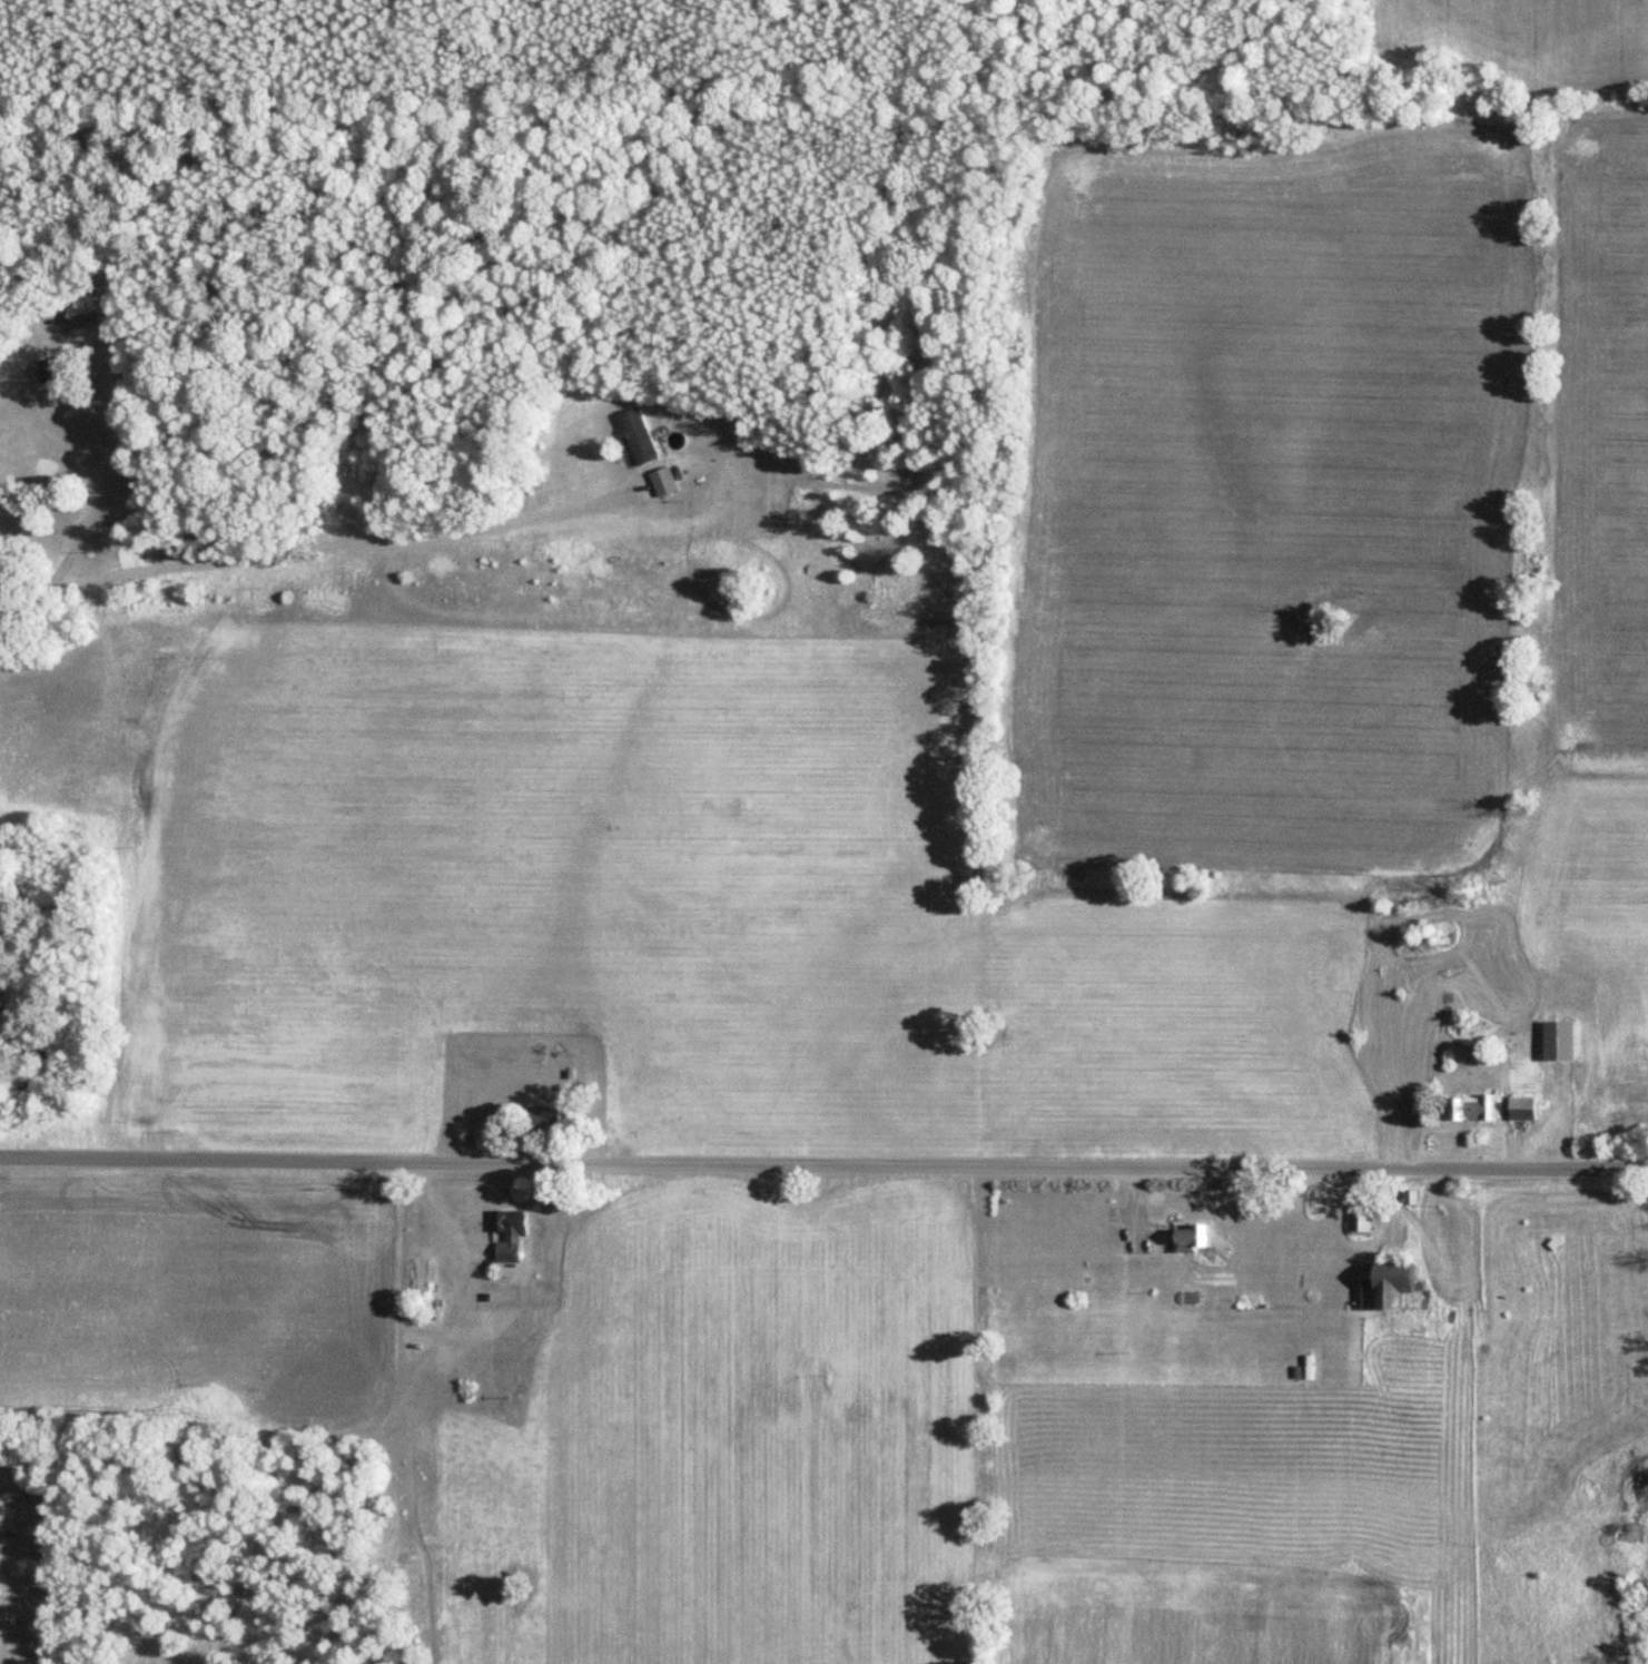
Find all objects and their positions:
building: (80, 315)
building: (50, 370)
building: (636, 436)
road: (103, 439)
building: (660, 481)
road: (325, 544)
building: (1469, 1109)
building: (1519, 1109)
building: (542, 1120)
road: (823, 1159)
building: (1359, 1212)
building: (505, 1235)
building: (1188, 1239)
building: (1387, 1287)

